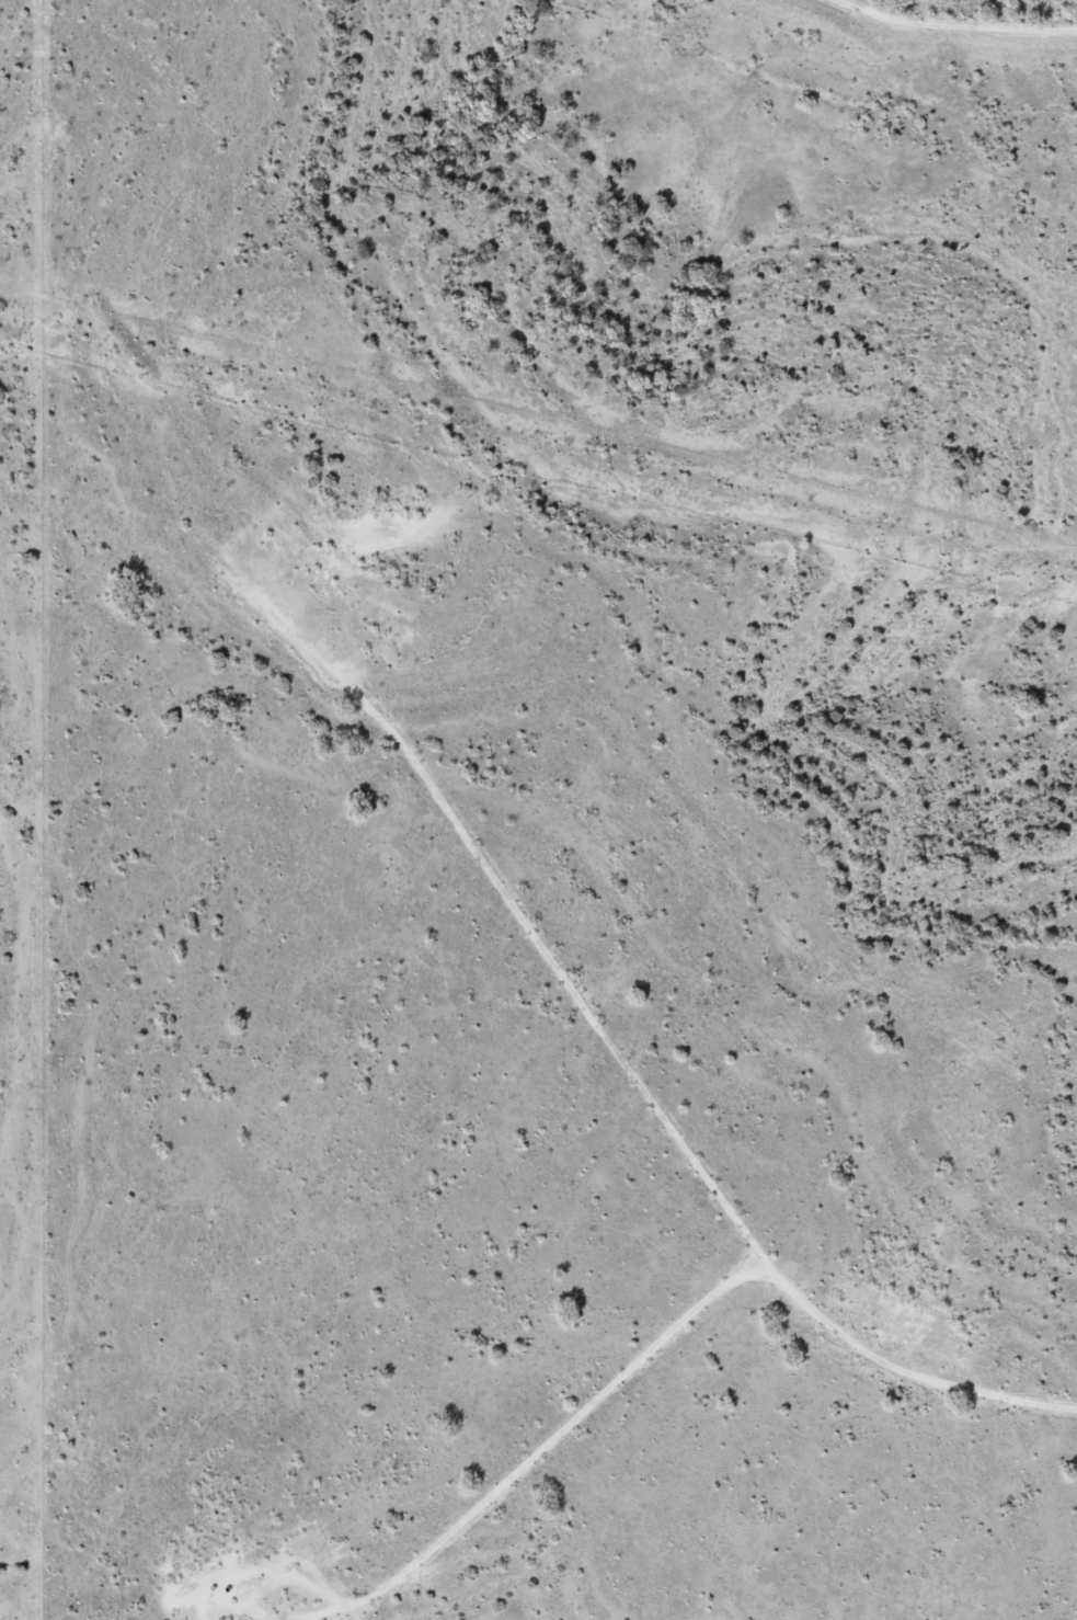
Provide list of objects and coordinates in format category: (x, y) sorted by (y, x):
road: (1073, 1403)

